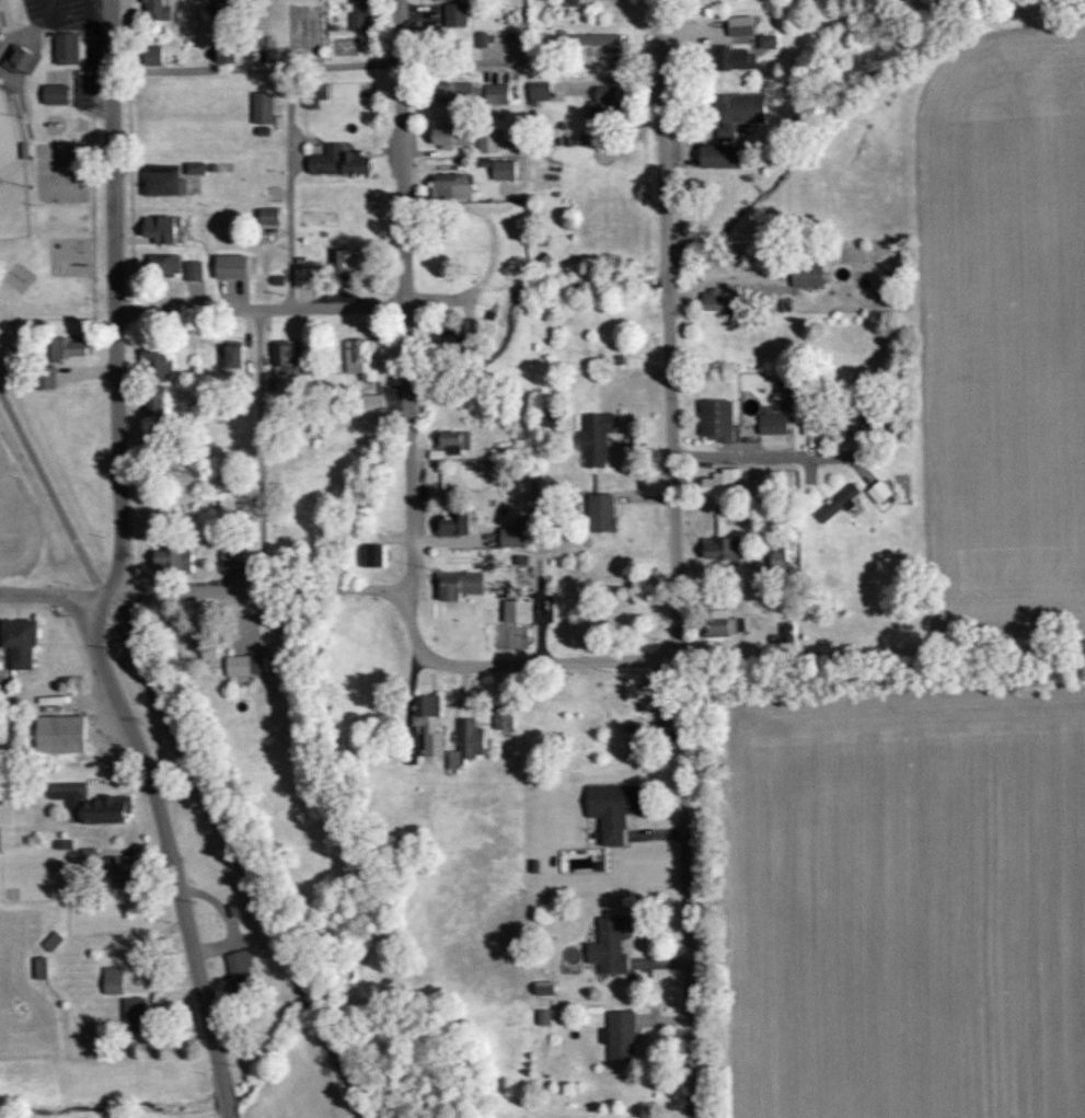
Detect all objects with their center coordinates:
building: (215, 3)
road: (48, 11)
building: (155, 13)
building: (454, 14)
building: (358, 15)
road: (67, 26)
building: (740, 26)
road: (126, 32)
road: (25, 34)
building: (483, 38)
building: (596, 39)
road: (3, 41)
building: (766, 41)
road: (103, 45)
building: (65, 46)
parking lot: (94, 48)
road: (96, 50)
building: (224, 53)
building: (152, 55)
building: (20, 57)
building: (731, 59)
road: (256, 65)
road: (127, 70)
road: (9, 74)
building: (538, 91)
building: (455, 92)
road: (523, 92)
building: (496, 93)
building: (55, 94)
road: (103, 101)
building: (602, 101)
building: (262, 108)
building: (736, 113)
building: (450, 134)
building: (486, 142)
building: (719, 157)
park: (47, 160)
building: (337, 161)
building: (194, 168)
building: (501, 170)
park: (12, 171)
park: (60, 172)
building: (162, 184)
road: (291, 186)
building: (451, 186)
road: (129, 191)
building: (268, 217)
building: (160, 229)
building: (345, 262)
building: (163, 264)
building: (230, 267)
building: (193, 270)
building: (806, 276)
building: (303, 278)
road: (115, 295)
road: (405, 296)
building: (720, 301)
road: (261, 309)
road: (132, 311)
building: (446, 341)
building: (66, 348)
building: (359, 358)
building: (232, 362)
building: (157, 364)
building: (281, 365)
building: (153, 405)
building: (371, 406)
building: (718, 422)
building: (772, 424)
building: (809, 428)
building: (595, 438)
building: (452, 441)
road: (262, 449)
road: (135, 451)
building: (436, 453)
road: (770, 459)
building: (723, 483)
road: (48, 489)
building: (878, 492)
building: (839, 503)
building: (600, 514)
building: (452, 525)
building: (511, 538)
building: (723, 549)
building: (372, 556)
building: (232, 557)
building: (782, 557)
road: (676, 558)
building: (172, 561)
building: (457, 585)
road: (138, 589)
road: (200, 590)
road: (102, 598)
building: (515, 616)
building: (720, 625)
building: (19, 642)
building: (204, 646)
road: (881, 652)
road: (517, 664)
building: (243, 665)
building: (642, 692)
parking lot: (60, 705)
building: (501, 718)
building: (428, 726)
road: (105, 731)
building: (59, 735)
building: (465, 744)
parking lot: (77, 758)
building: (90, 804)
building: (612, 808)
road: (163, 835)
road: (236, 864)
building: (124, 874)
building: (609, 944)
building: (239, 966)
building: (41, 967)
building: (112, 979)
building: (543, 988)
building: (134, 1014)
building: (619, 1035)
road: (226, 1095)

